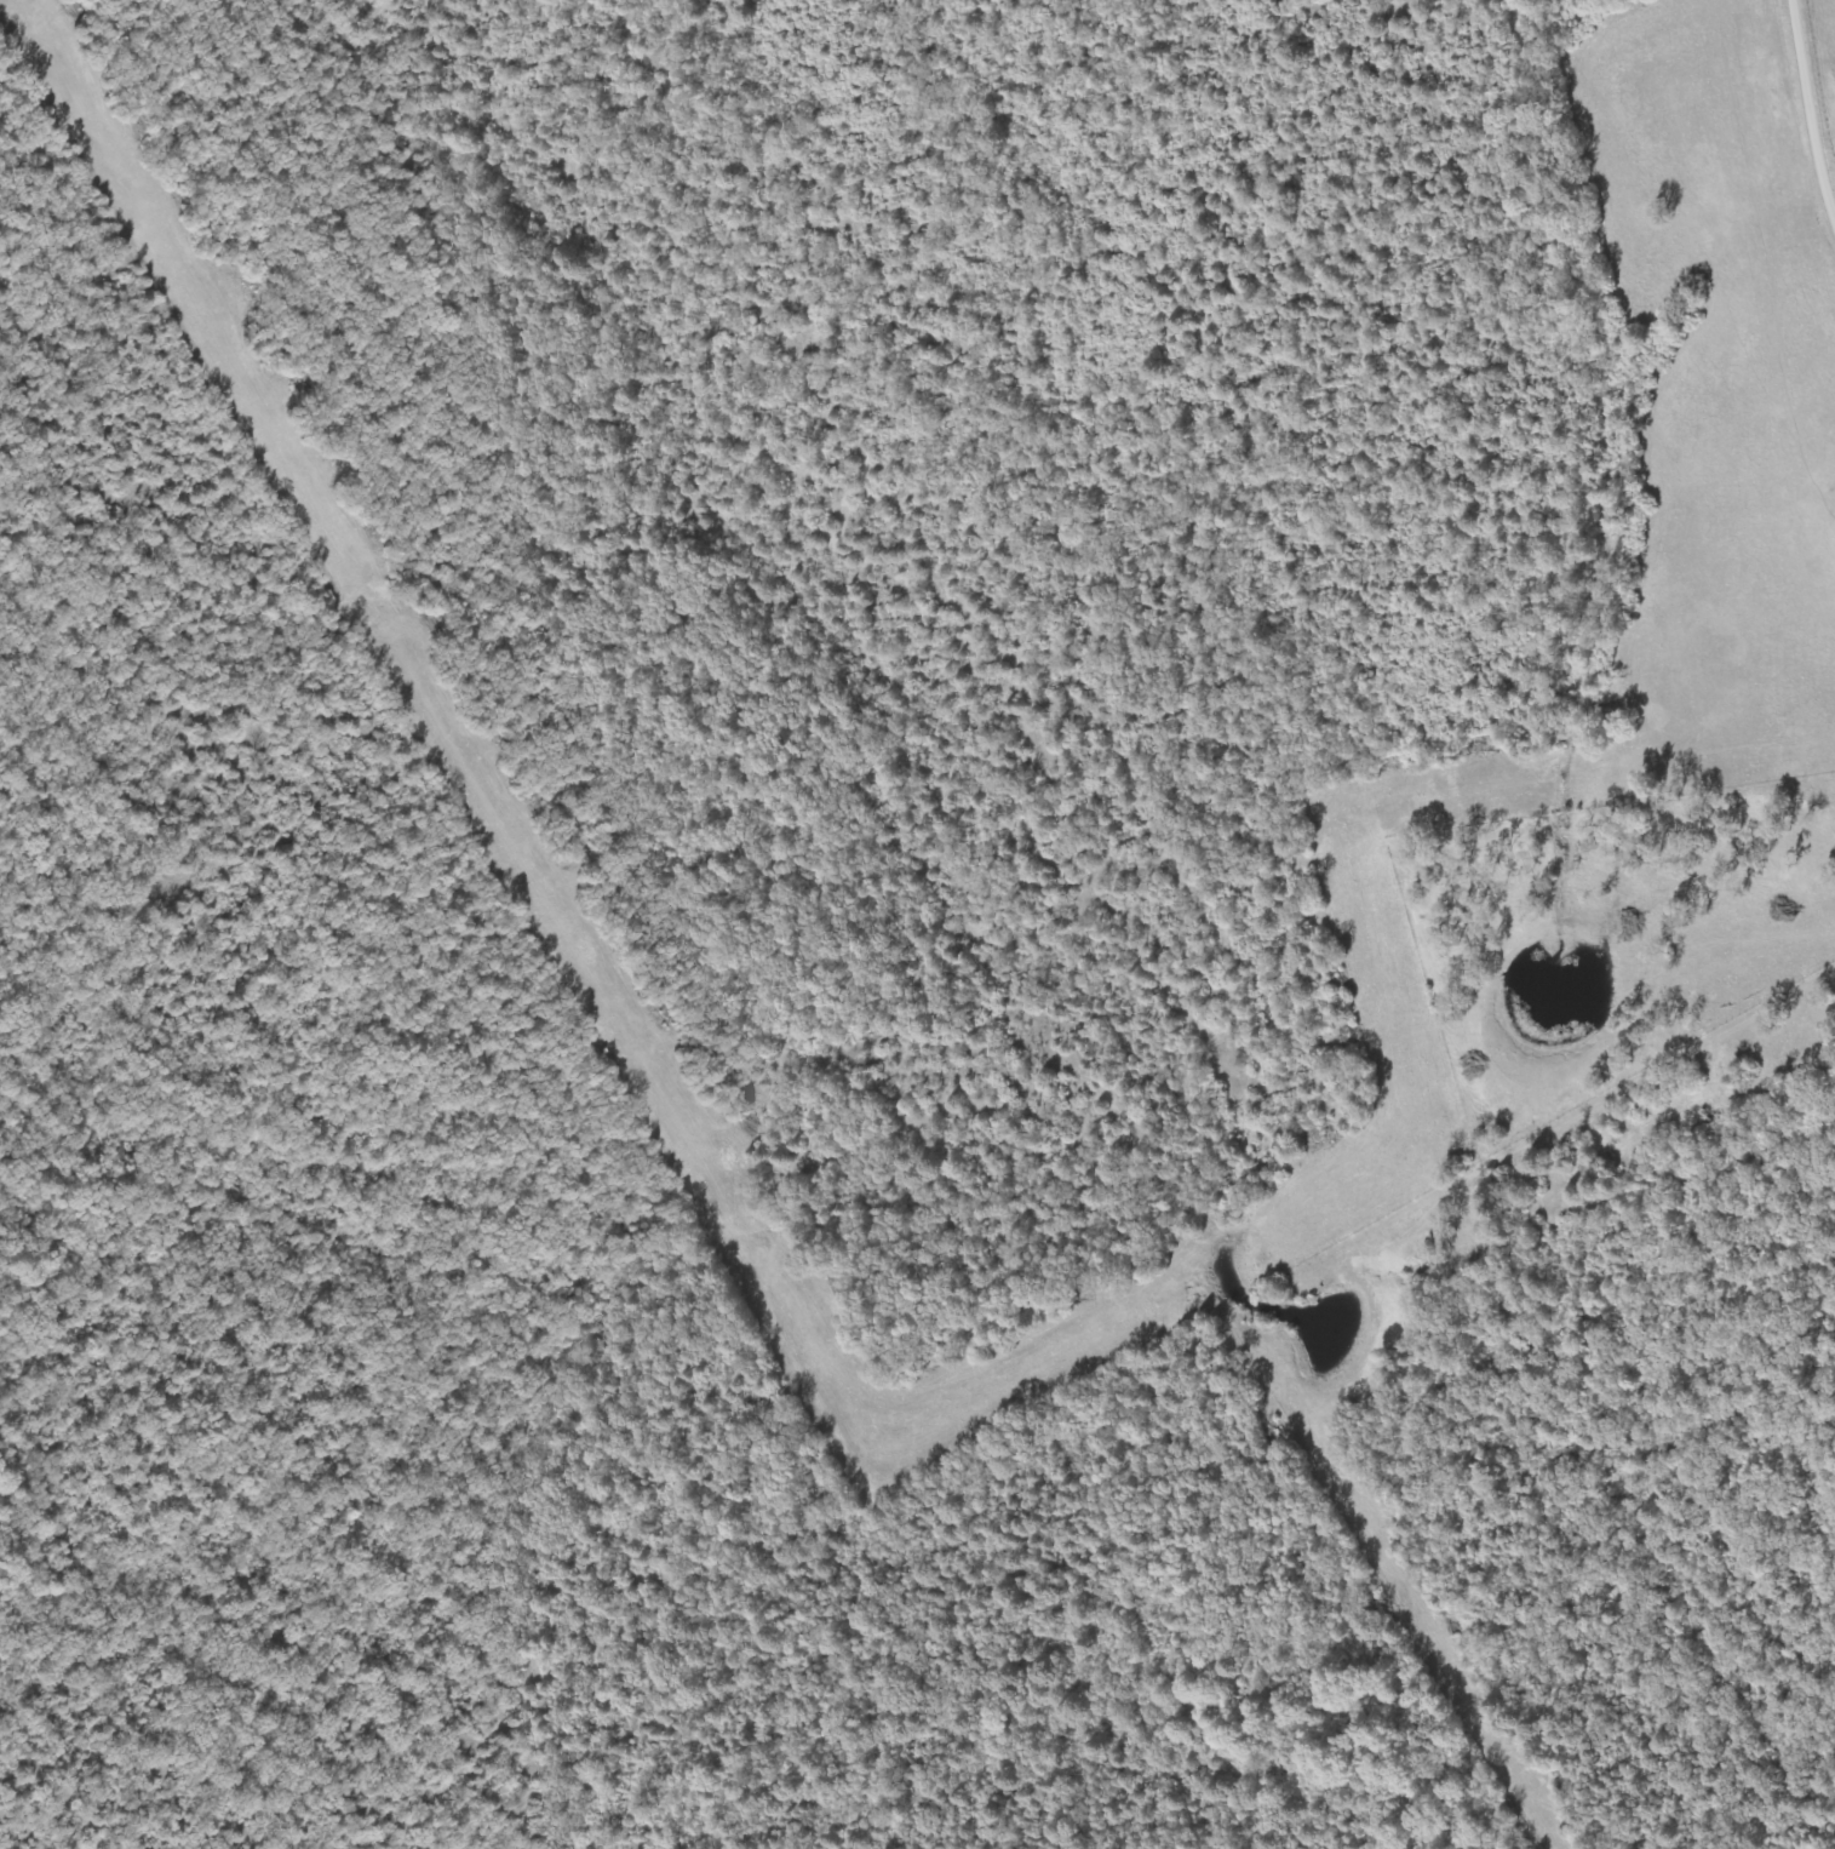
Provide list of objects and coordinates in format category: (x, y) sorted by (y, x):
road: (1818, 101)

